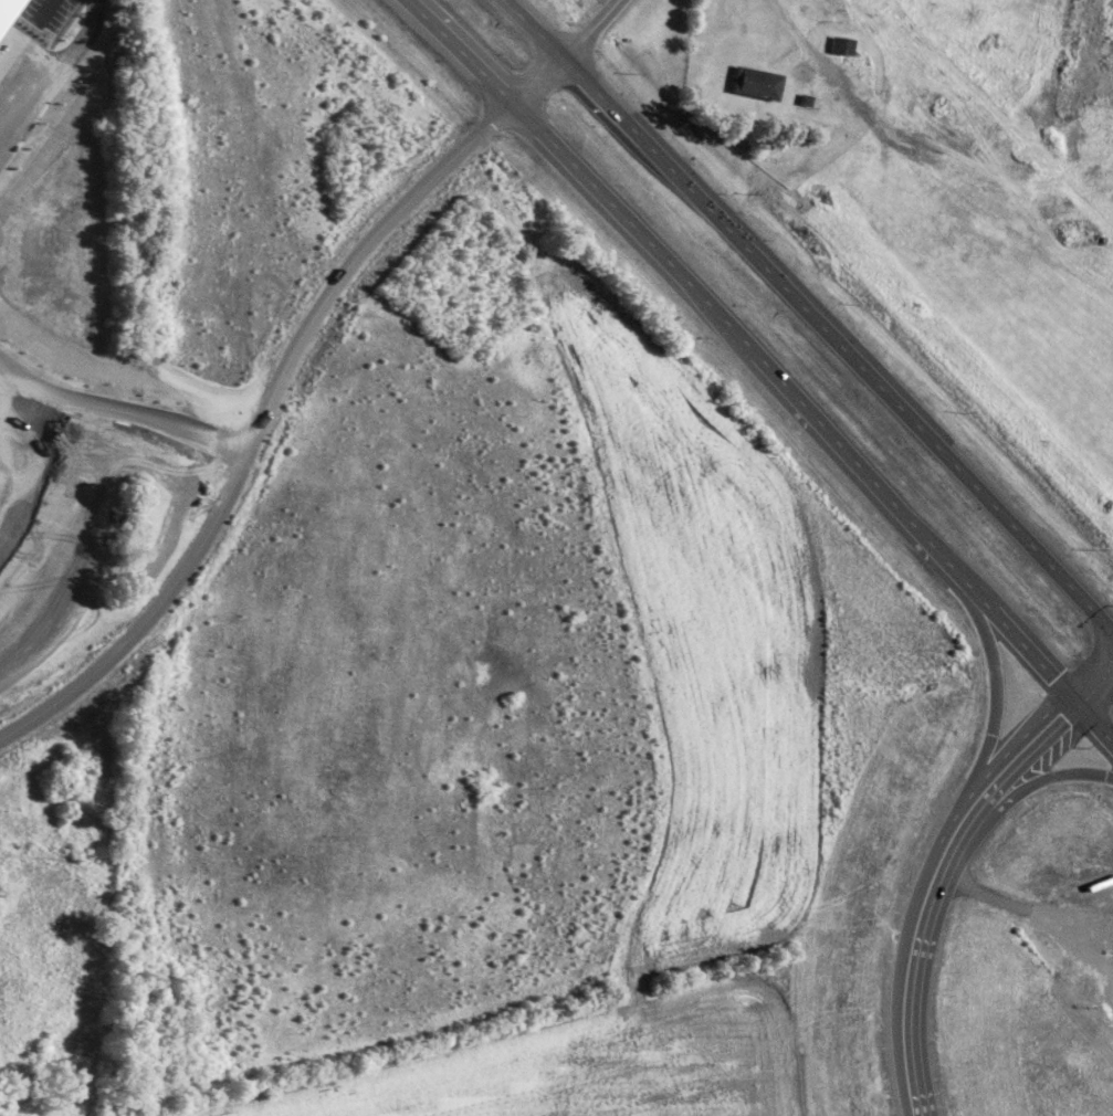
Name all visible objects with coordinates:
building: (8, 11)
road: (536, 28)
road: (797, 32)
building: (841, 43)
road: (459, 52)
road: (568, 53)
building: (755, 81)
road: (602, 95)
road: (658, 251)
road: (878, 382)
road: (260, 428)
road: (880, 486)
road: (1036, 656)
traffic signals: (1042, 664)
road: (1090, 664)
road: (995, 676)
traffic signals: (1040, 714)
road: (1020, 734)
road: (1027, 783)
road: (964, 804)
road: (941, 844)
road: (1022, 906)
road: (901, 986)
road: (913, 1114)

